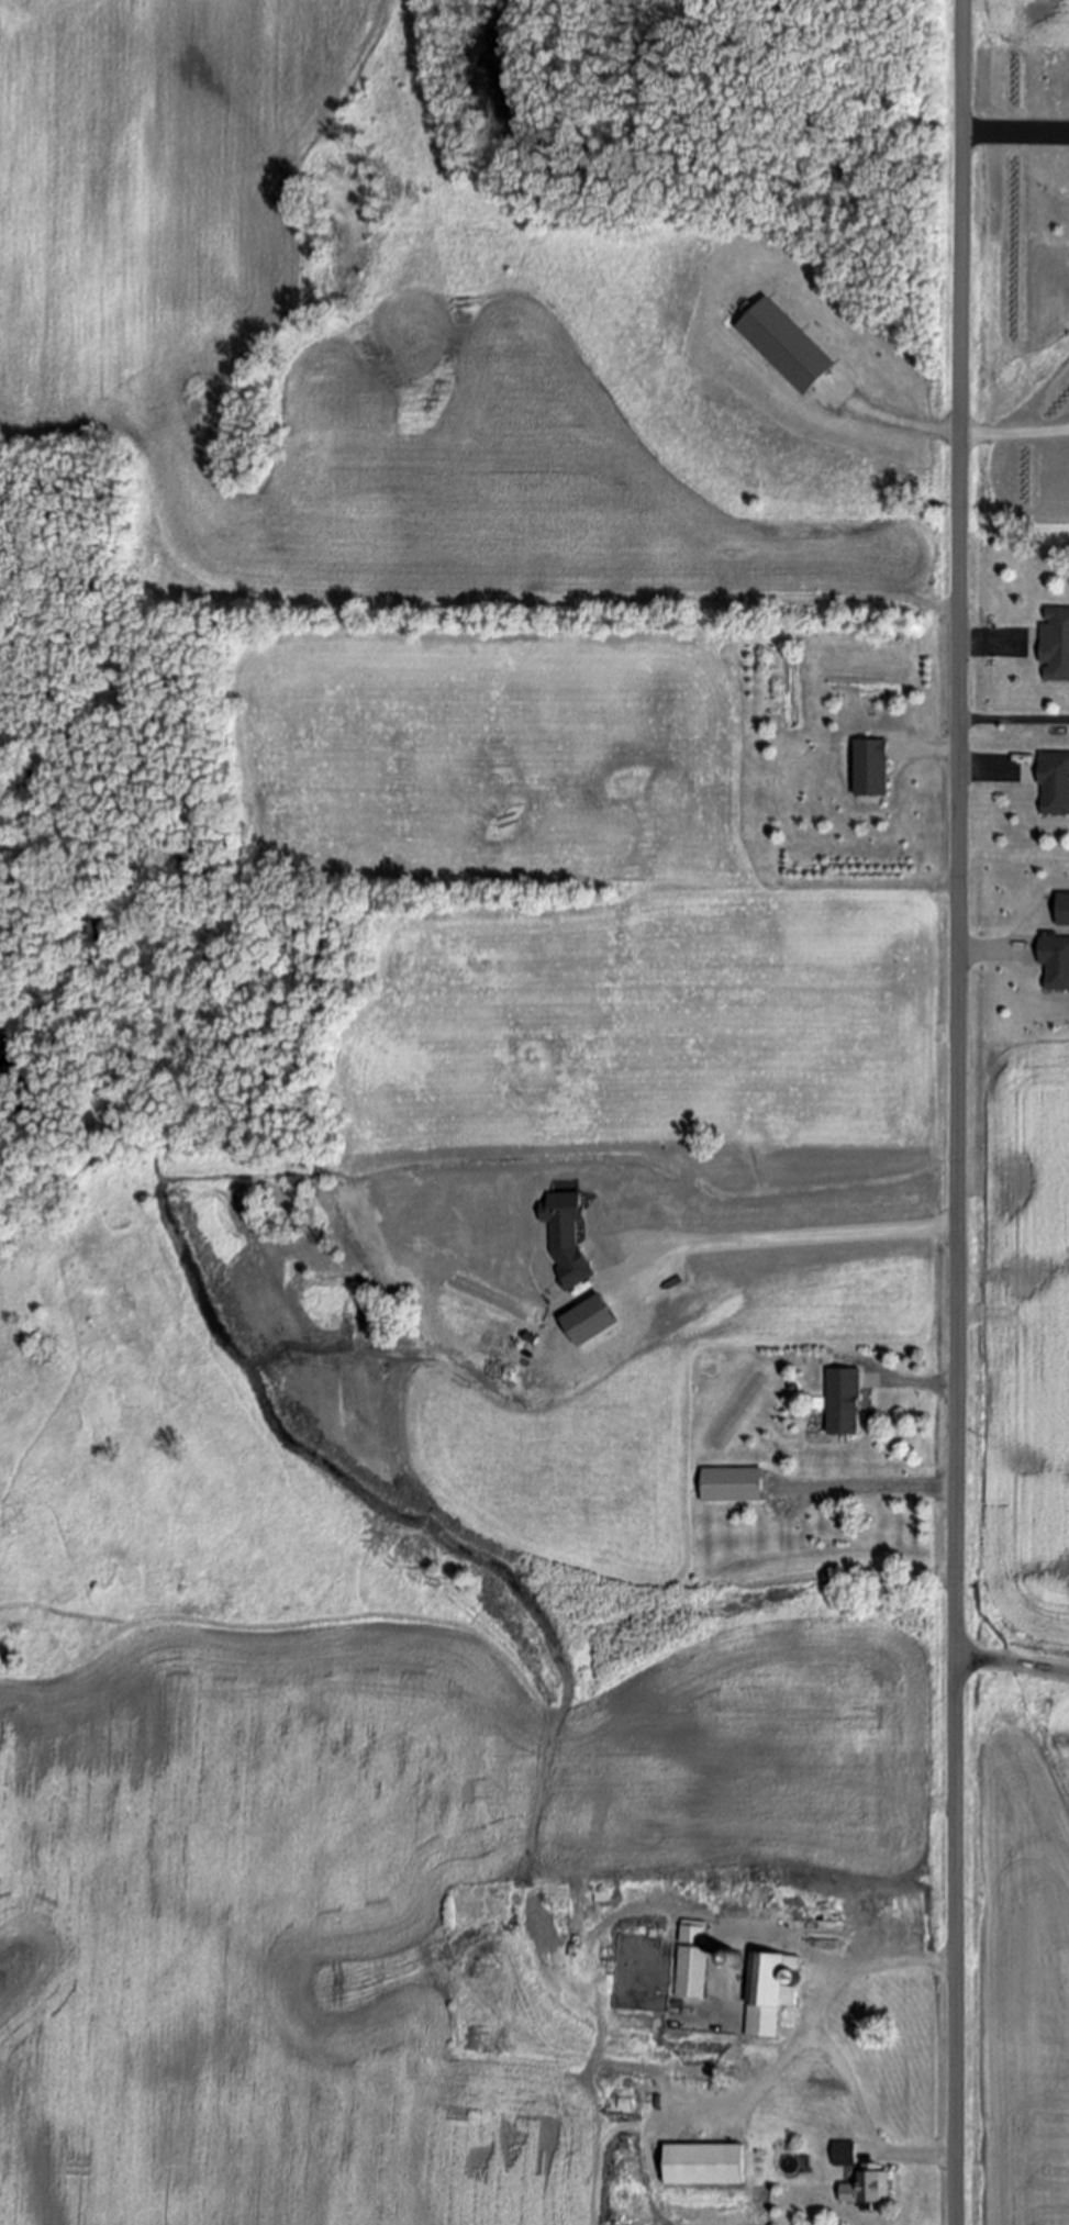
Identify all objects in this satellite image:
crop: (1018, 21)
road: (1014, 135)
crop: (330, 345)
building: (793, 355)
road: (910, 423)
road: (1013, 432)
road: (987, 644)
building: (1055, 646)
road: (937, 752)
building: (869, 769)
road: (986, 770)
building: (1054, 786)
crop: (749, 893)
building: (1062, 910)
road: (989, 956)
building: (1055, 967)
road: (958, 1112)
building: (568, 1234)
road: (787, 1236)
crop: (1017, 1350)
road: (917, 1384)
building: (844, 1400)
building: (731, 1486)
road: (876, 1489)
road: (1013, 1662)
crop: (377, 1865)
crop: (1015, 1948)
building: (736, 1960)
building: (695, 1963)
building: (773, 1995)
road: (823, 2002)
road: (869, 2120)
building: (847, 2158)
building: (705, 2168)
building: (870, 2193)

